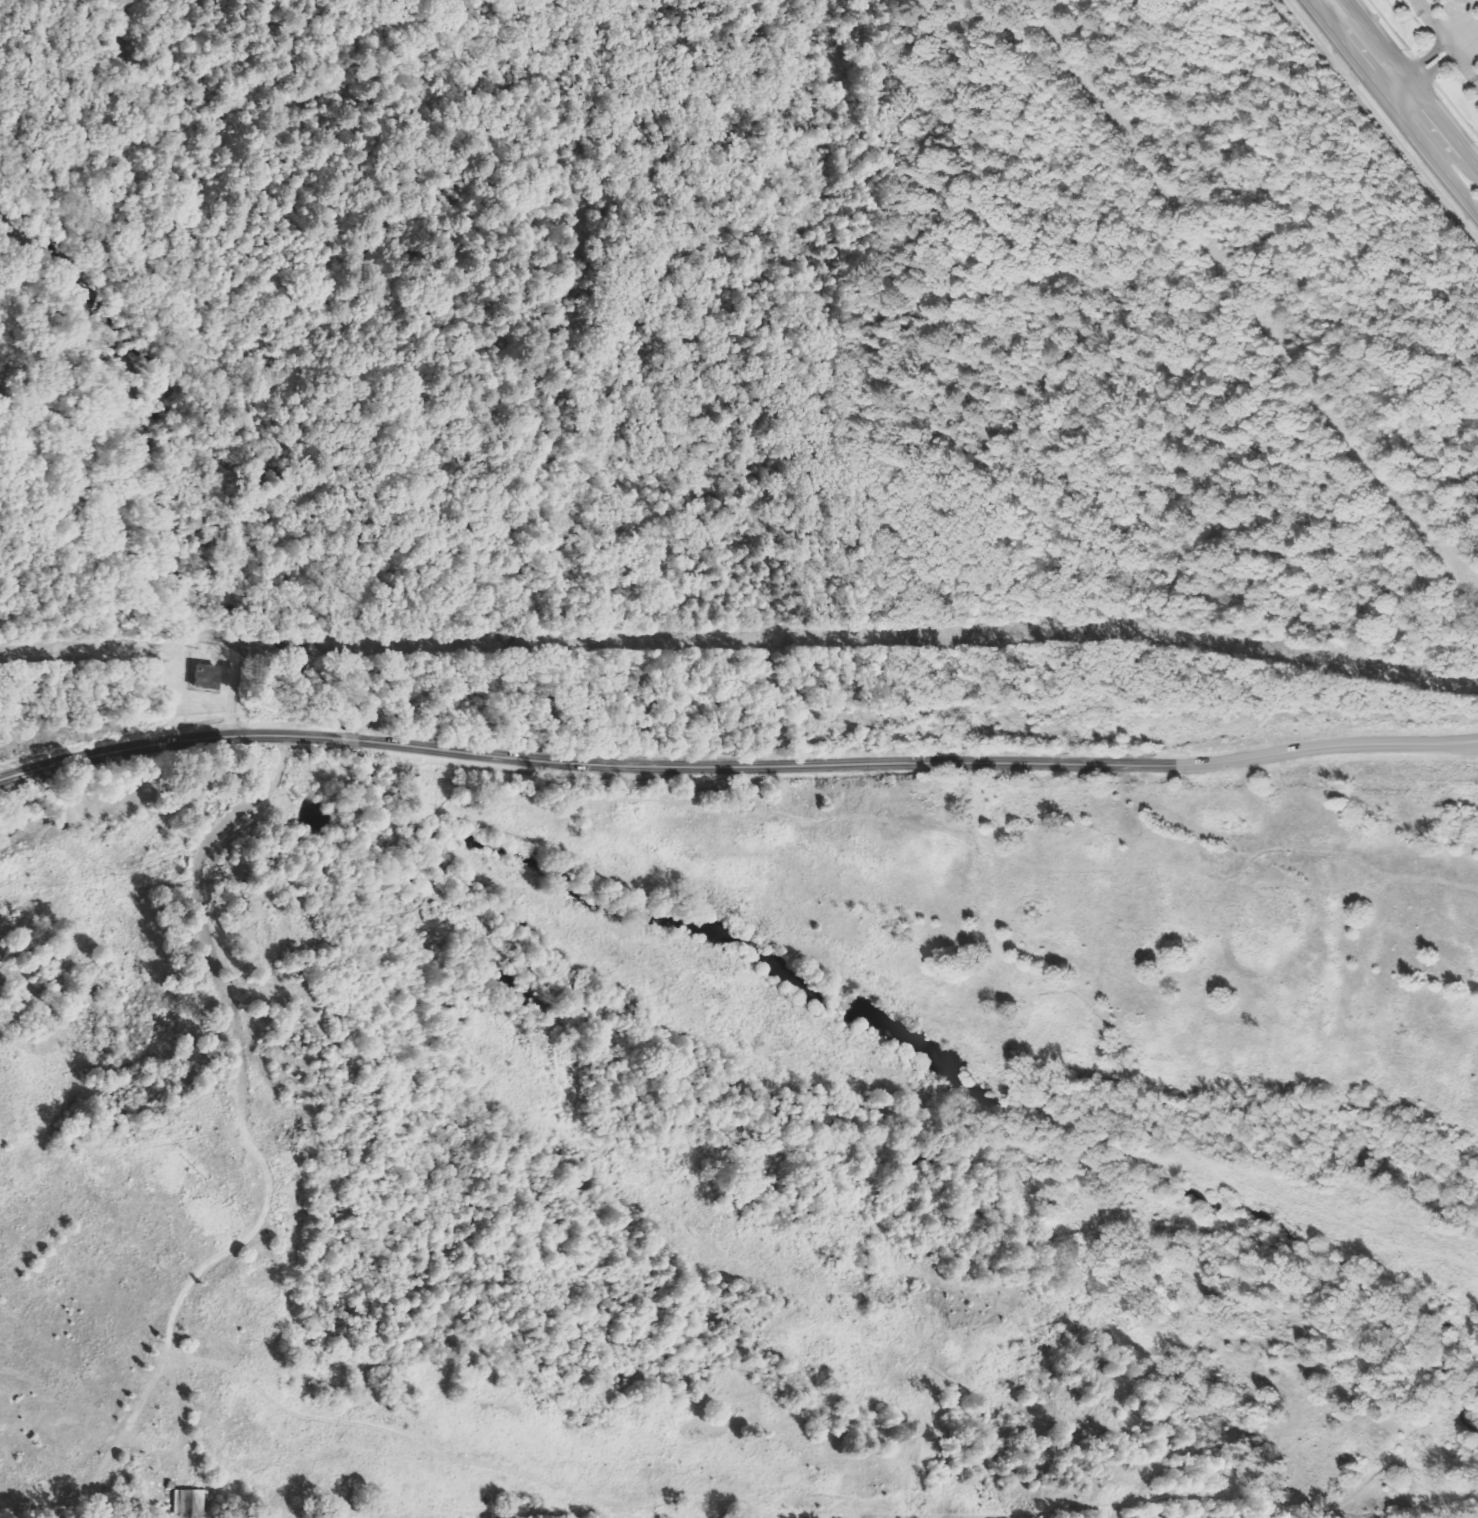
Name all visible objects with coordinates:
road: (1419, 5)
road: (1461, 21)
road: (1448, 45)
road: (1470, 53)
road: (1429, 63)
road: (1476, 81)
road: (1412, 84)
road: (1395, 88)
road: (1391, 108)
building: (209, 677)
road: (736, 766)
building: (189, 1502)

